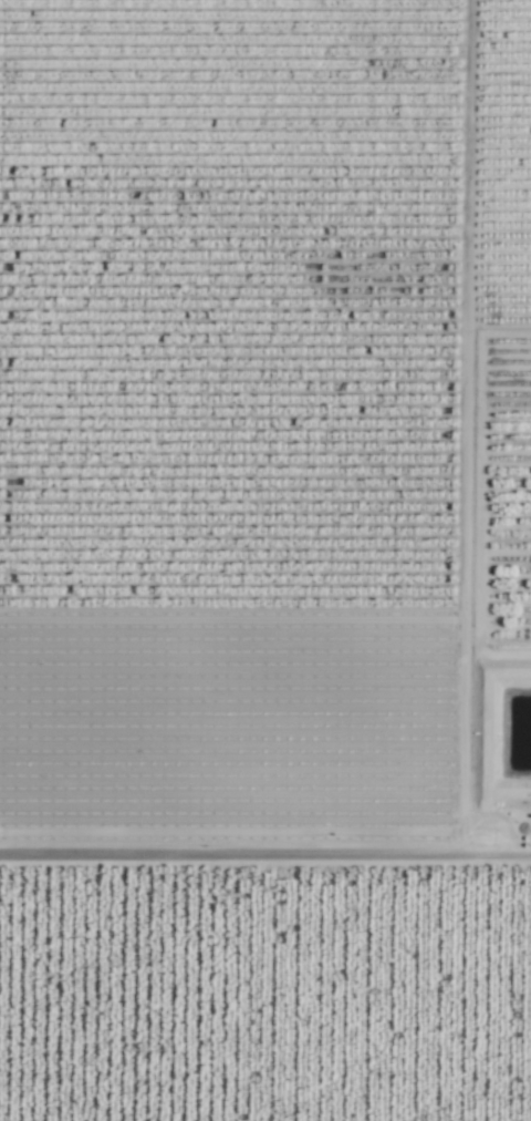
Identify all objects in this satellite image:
crop: (265, 560)
road: (265, 852)

